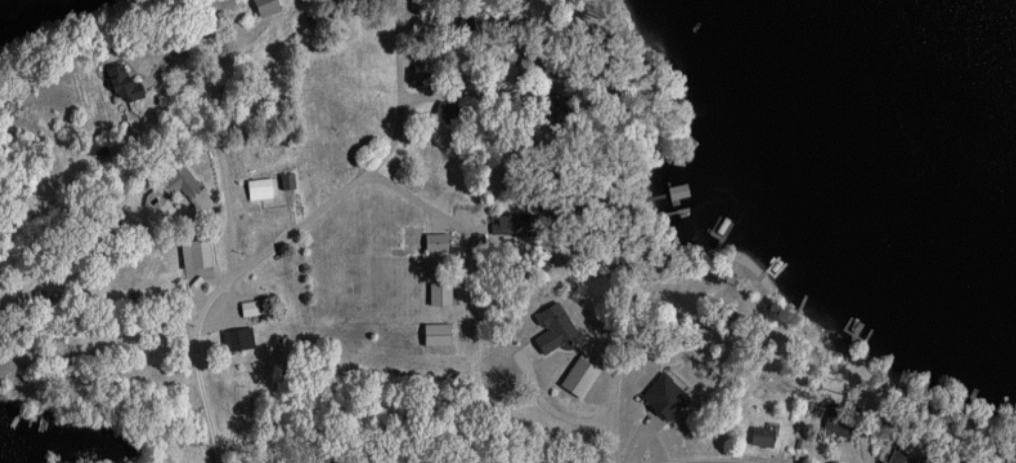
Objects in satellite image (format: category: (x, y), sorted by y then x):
building: (262, 6)
road: (395, 39)
building: (115, 79)
building: (442, 112)
road: (218, 122)
building: (285, 180)
building: (177, 182)
building: (257, 188)
road: (313, 219)
road: (451, 221)
building: (432, 241)
building: (437, 292)
building: (247, 307)
building: (434, 333)
building: (236, 337)
building: (576, 376)
road: (543, 405)
road: (604, 408)
building: (836, 419)
building: (758, 436)
building: (900, 457)

